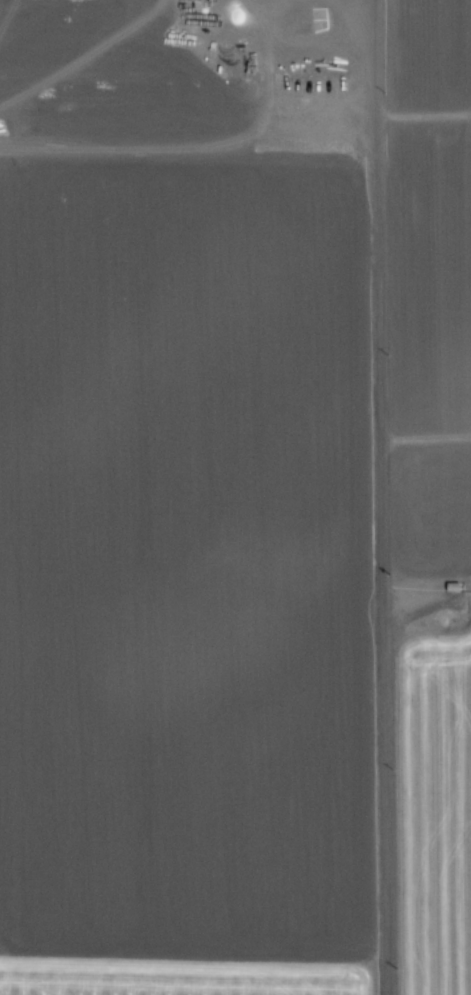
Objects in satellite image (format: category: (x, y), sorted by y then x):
road: (381, 497)

